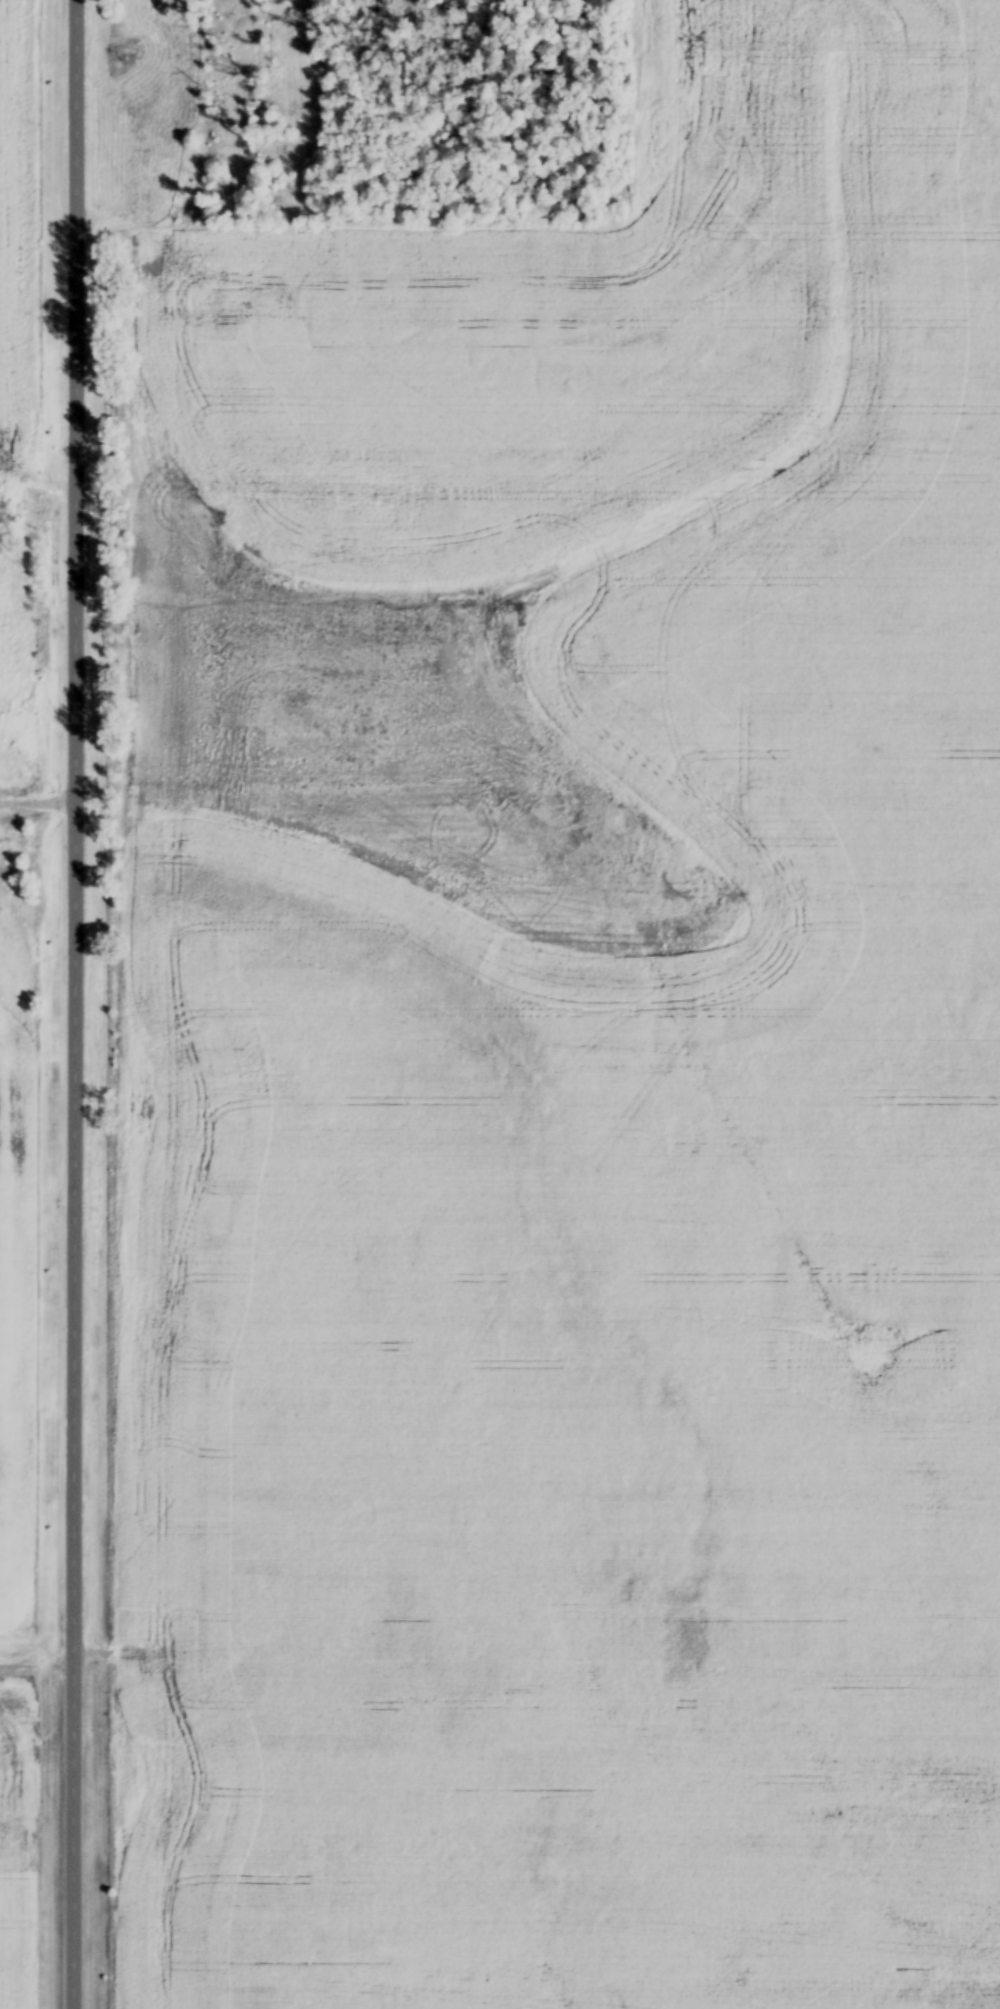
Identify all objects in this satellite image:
river: (846, 406)
road: (31, 788)
river: (636, 868)
road: (75, 1004)

